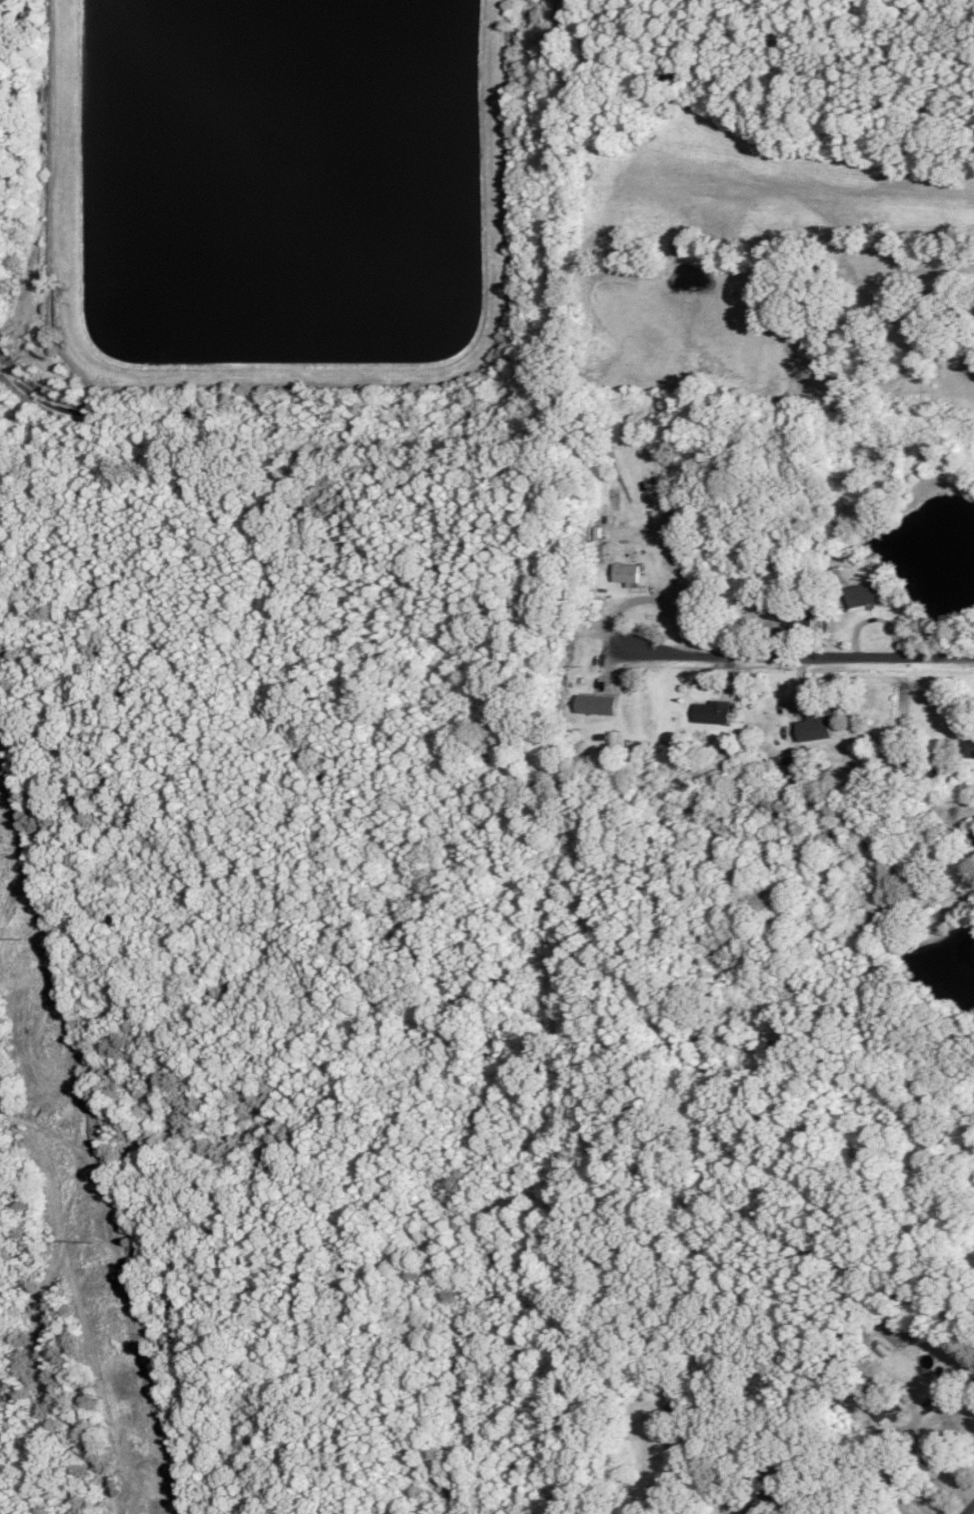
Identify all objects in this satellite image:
building: (626, 572)
building: (863, 594)
building: (798, 612)
road: (790, 652)
building: (596, 703)
building: (712, 711)
building: (814, 728)
building: (967, 747)
building: (877, 1403)
road: (930, 1461)
building: (760, 1500)
road: (967, 1507)

